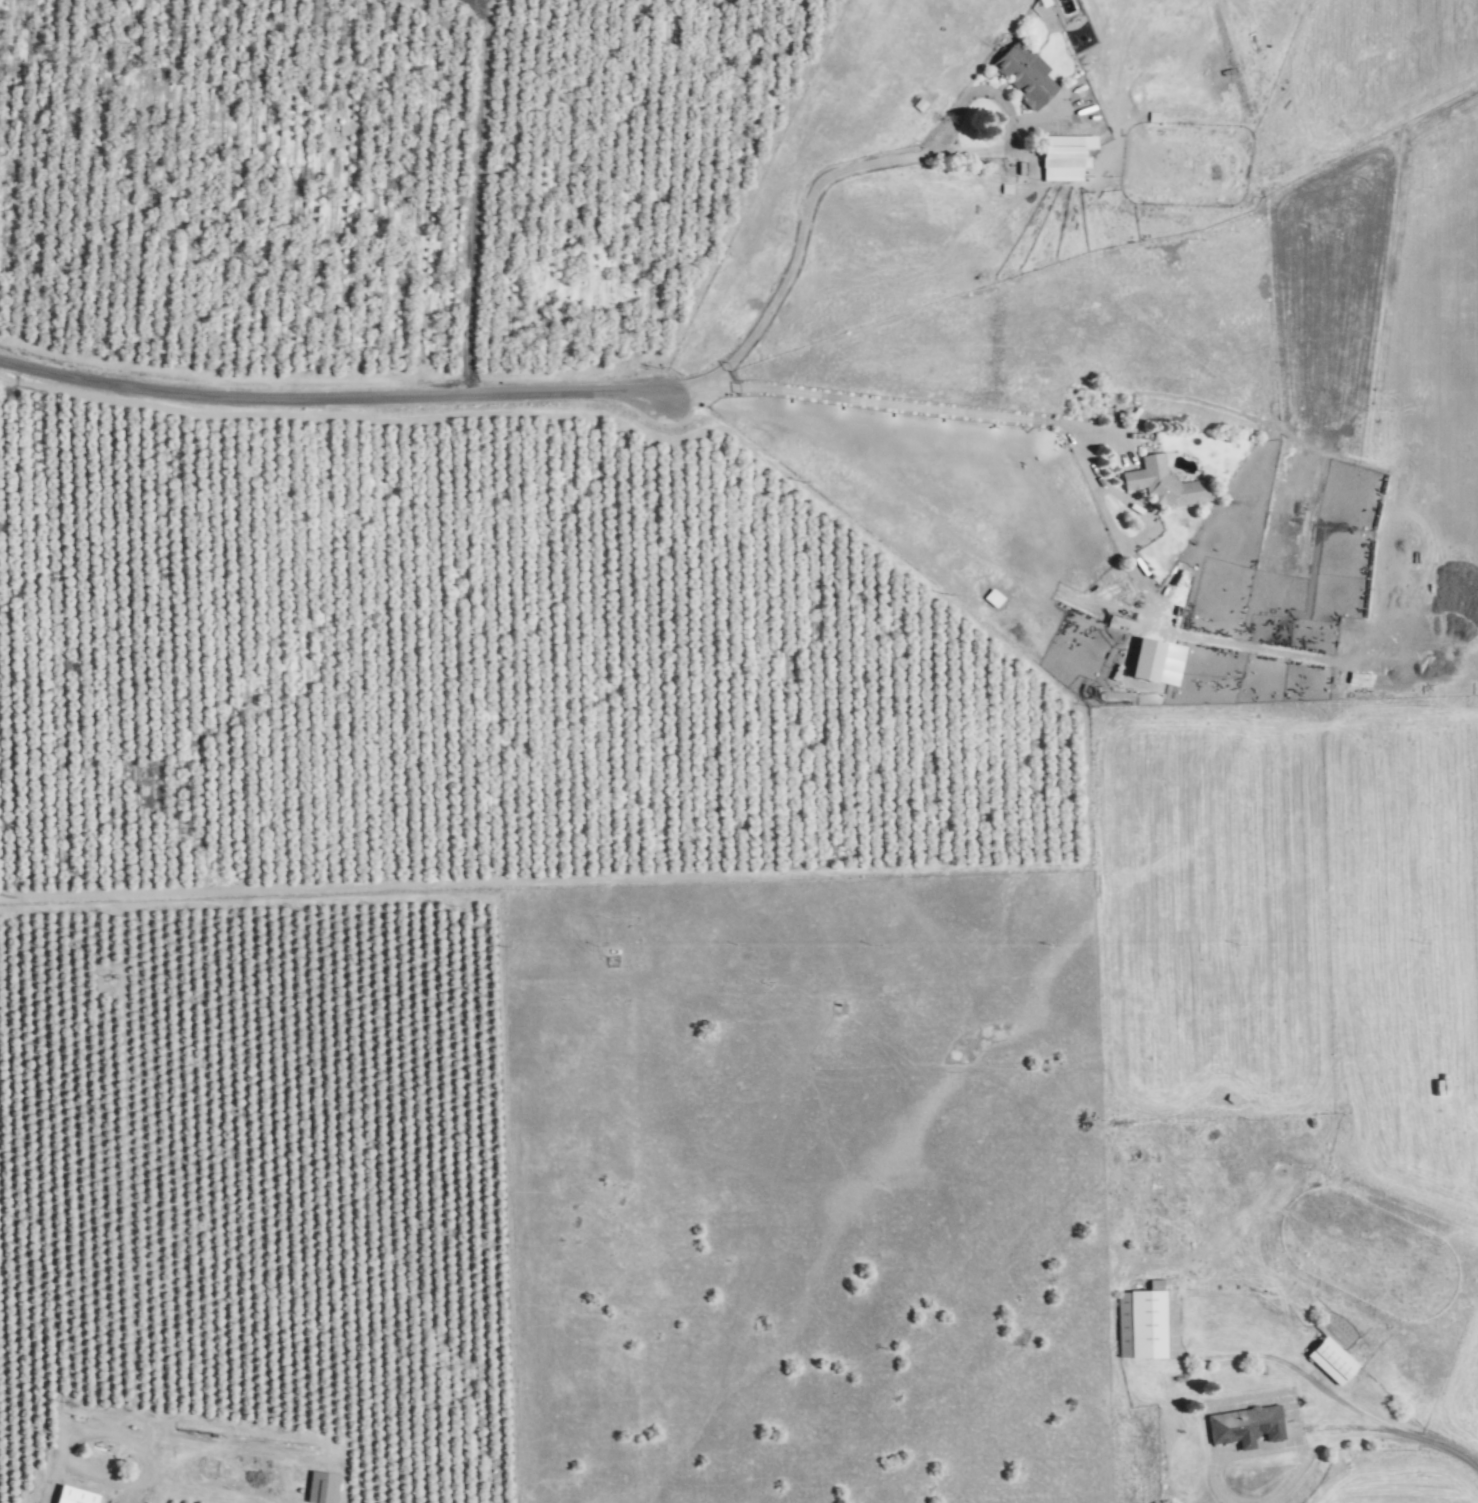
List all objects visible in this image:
building: (1021, 73)
building: (1061, 156)
road: (847, 168)
crop: (378, 187)
road: (477, 198)
road: (331, 395)
road: (984, 413)
building: (1163, 484)
crop: (239, 1080)
building: (1140, 1324)
building: (1330, 1360)
road: (1336, 1396)
building: (252, 1411)
building: (303, 1418)
building: (354, 1425)
building: (1243, 1426)
road: (1356, 1428)
building: (408, 1432)
crop: (191, 1481)
building: (318, 1487)
building: (73, 1488)
crop: (410, 1497)

